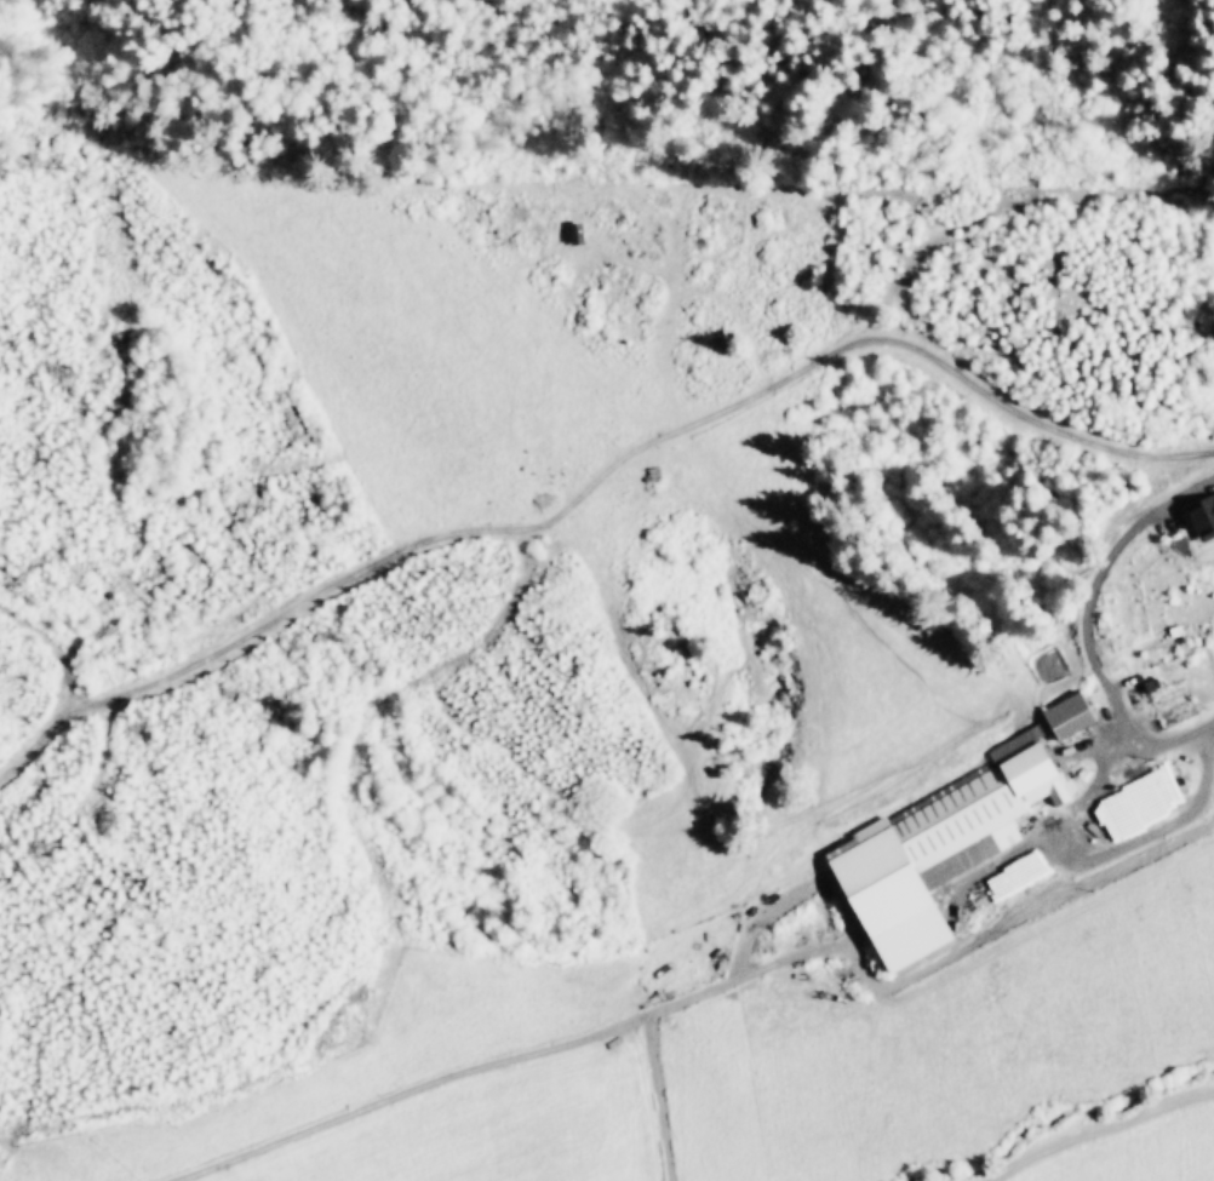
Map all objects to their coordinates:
building: (1204, 512)
building: (1069, 713)
road: (1133, 747)
building: (940, 844)

